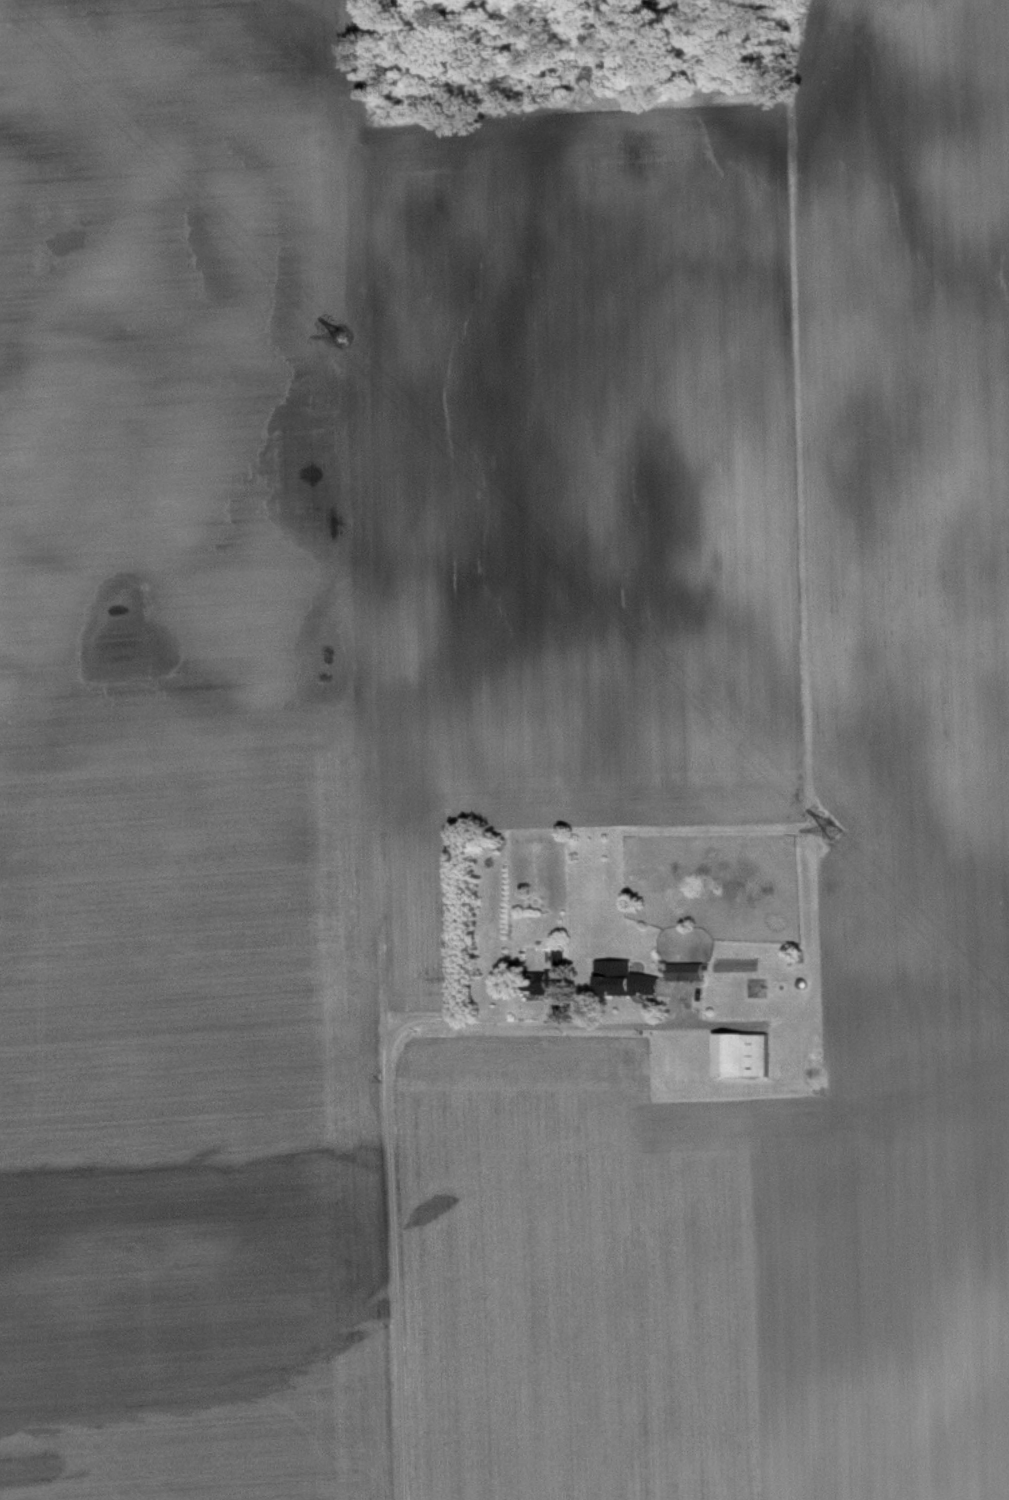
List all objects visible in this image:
power tower: (342, 341)
power tower: (835, 830)
building: (691, 979)
building: (629, 986)
building: (553, 988)
road: (674, 1025)
road: (490, 1028)
building: (747, 1062)
road: (398, 1271)

